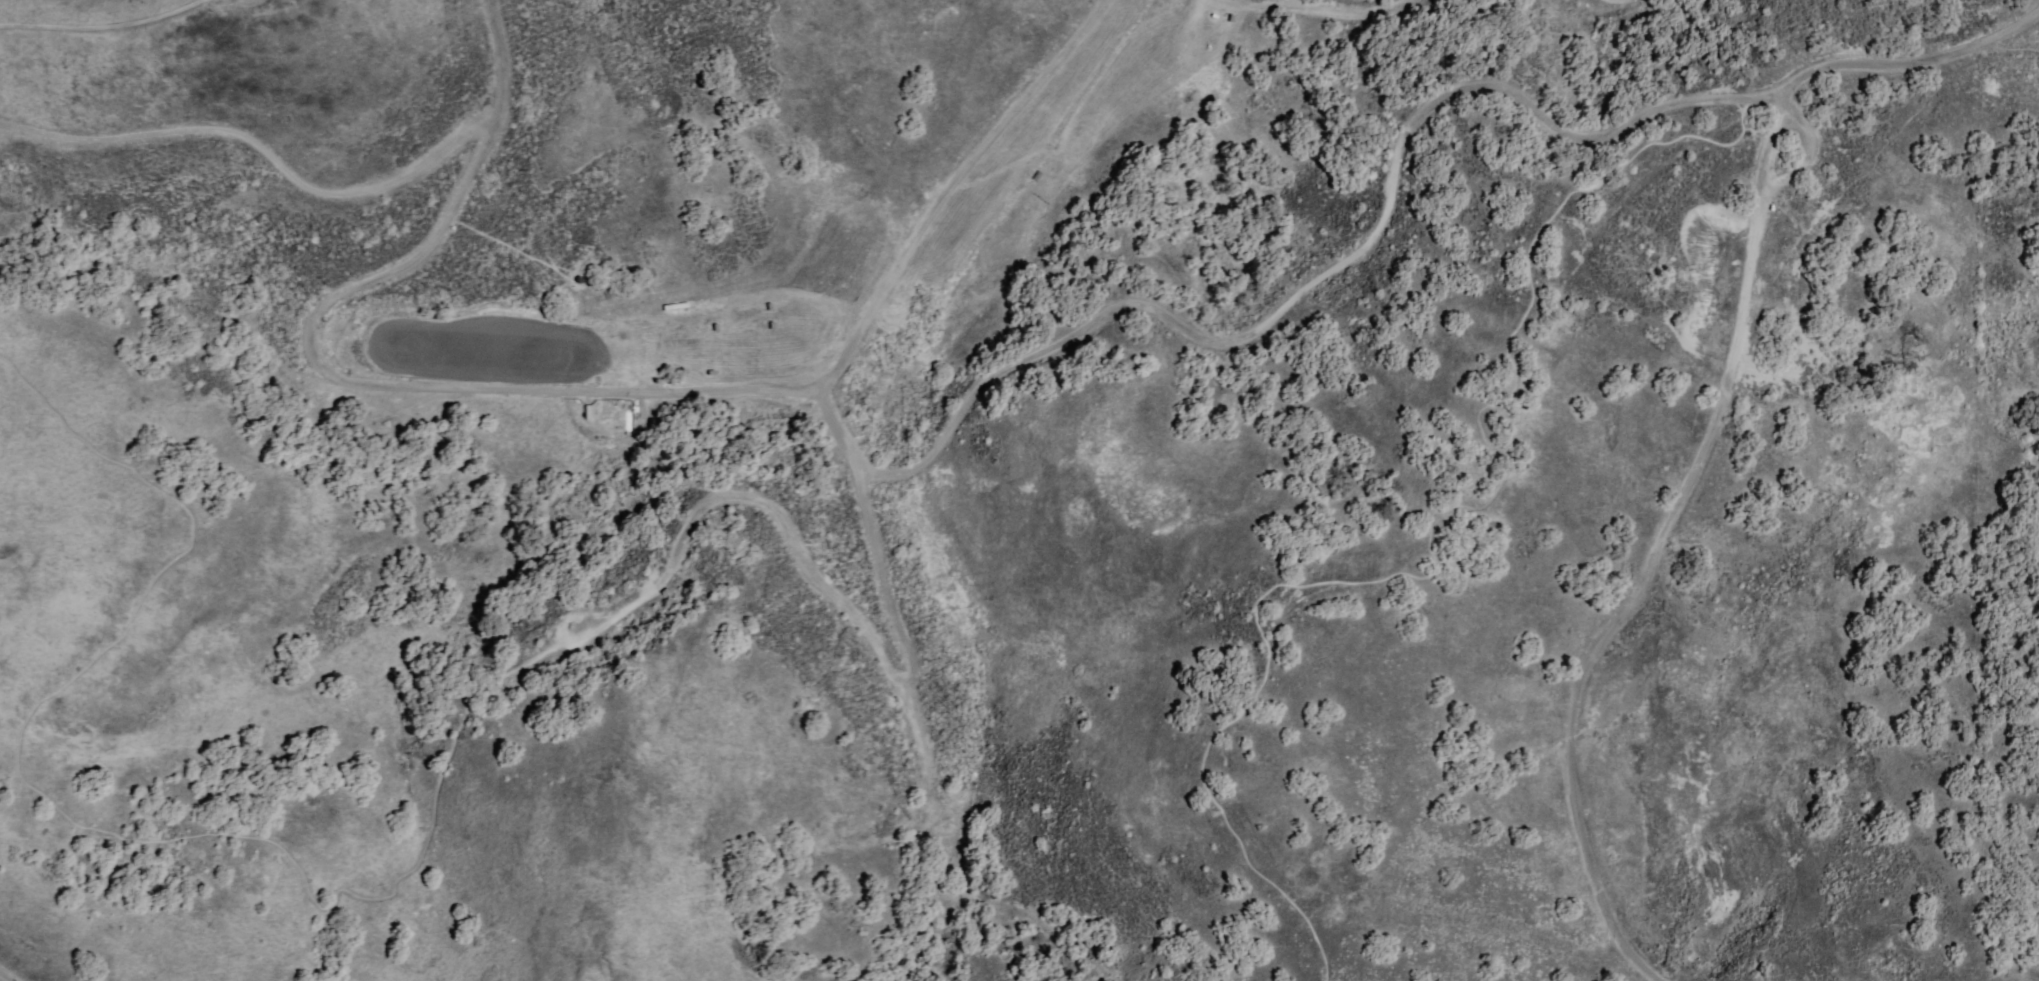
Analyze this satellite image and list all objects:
road: (1301, 19)
road: (500, 44)
road: (267, 148)
road: (935, 190)
road: (1317, 277)
road: (375, 382)
road: (1714, 420)
road: (806, 576)
road: (44, 810)
road: (9, 972)

